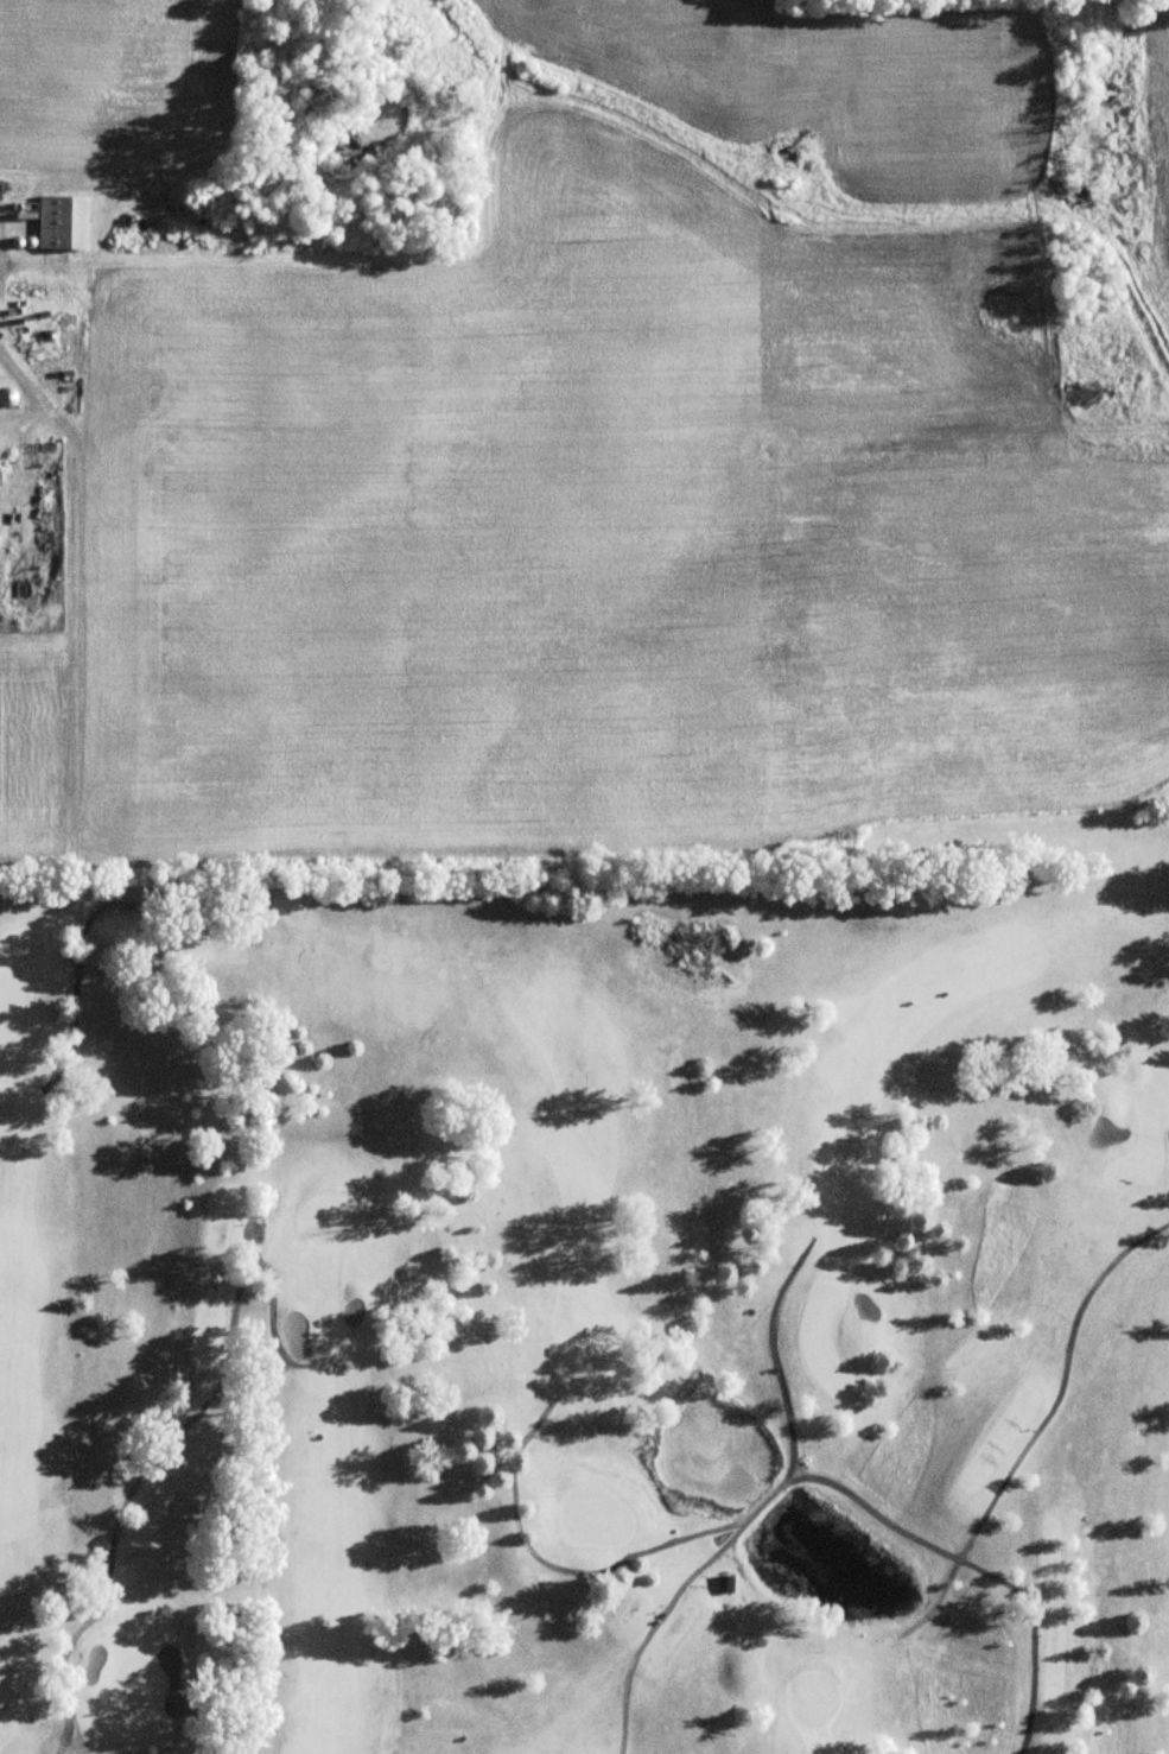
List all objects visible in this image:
building: (64, 221)
road: (90, 916)
road: (252, 1218)
park: (590, 1303)
road: (1037, 1427)
road: (167, 1442)
road: (795, 1471)
road: (758, 1507)
road: (554, 1566)
road: (974, 1568)
building: (724, 1583)

